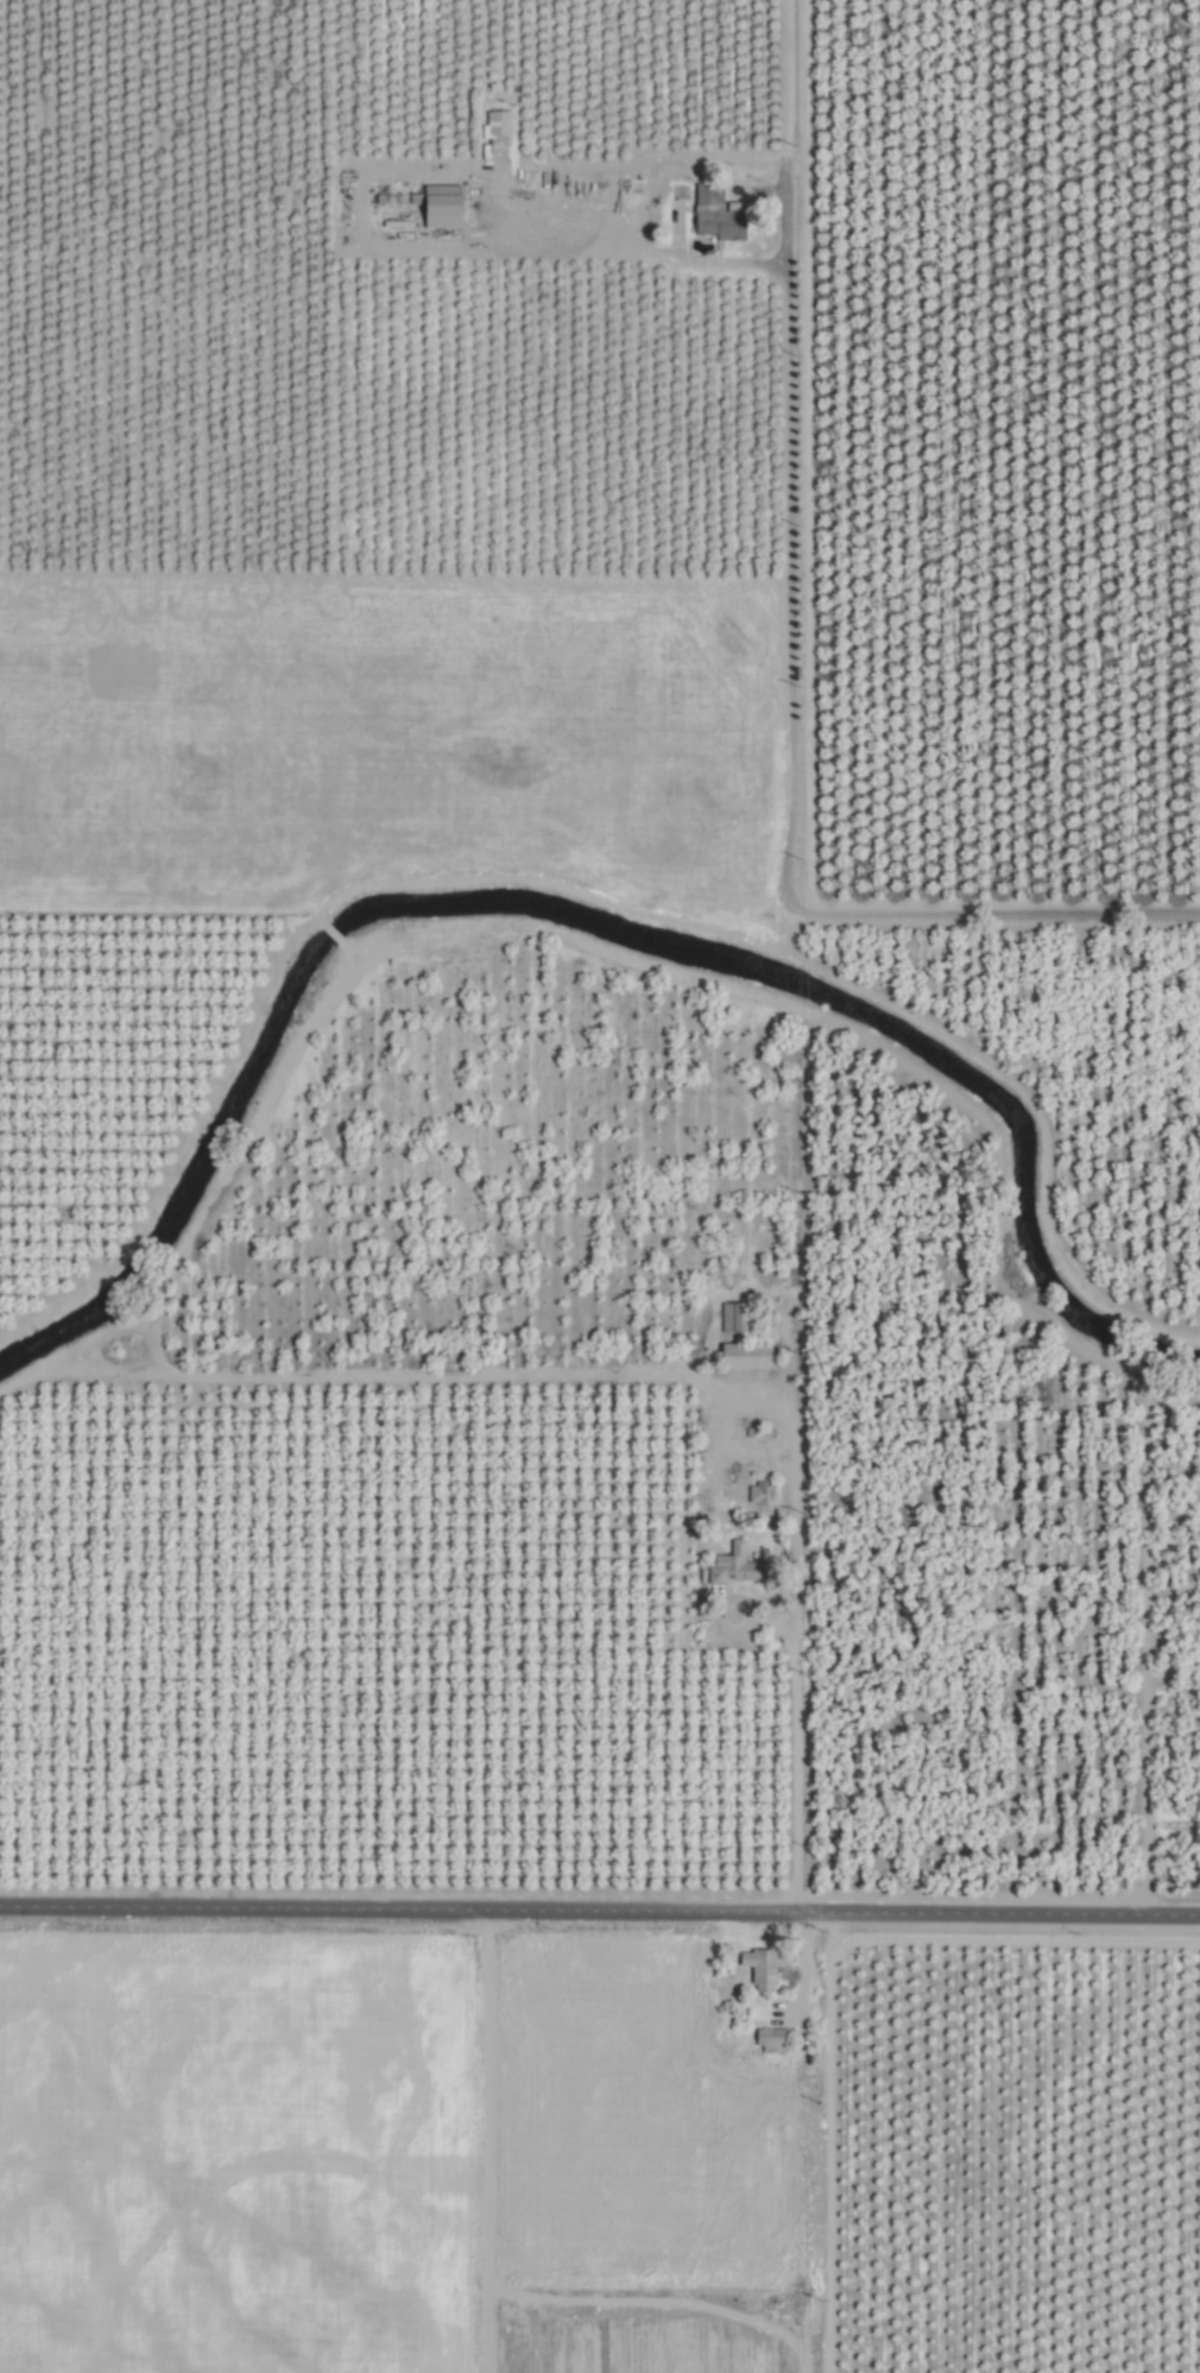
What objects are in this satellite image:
building: (498, 124)
building: (402, 200)
building: (447, 210)
building: (720, 214)
road: (790, 651)
crop: (392, 739)
crop: (600, 1186)
building: (735, 1318)
building: (750, 1356)
building: (734, 1567)
road: (792, 1605)
road: (599, 1911)
building: (762, 1968)
building: (773, 2040)
road: (493, 2141)

